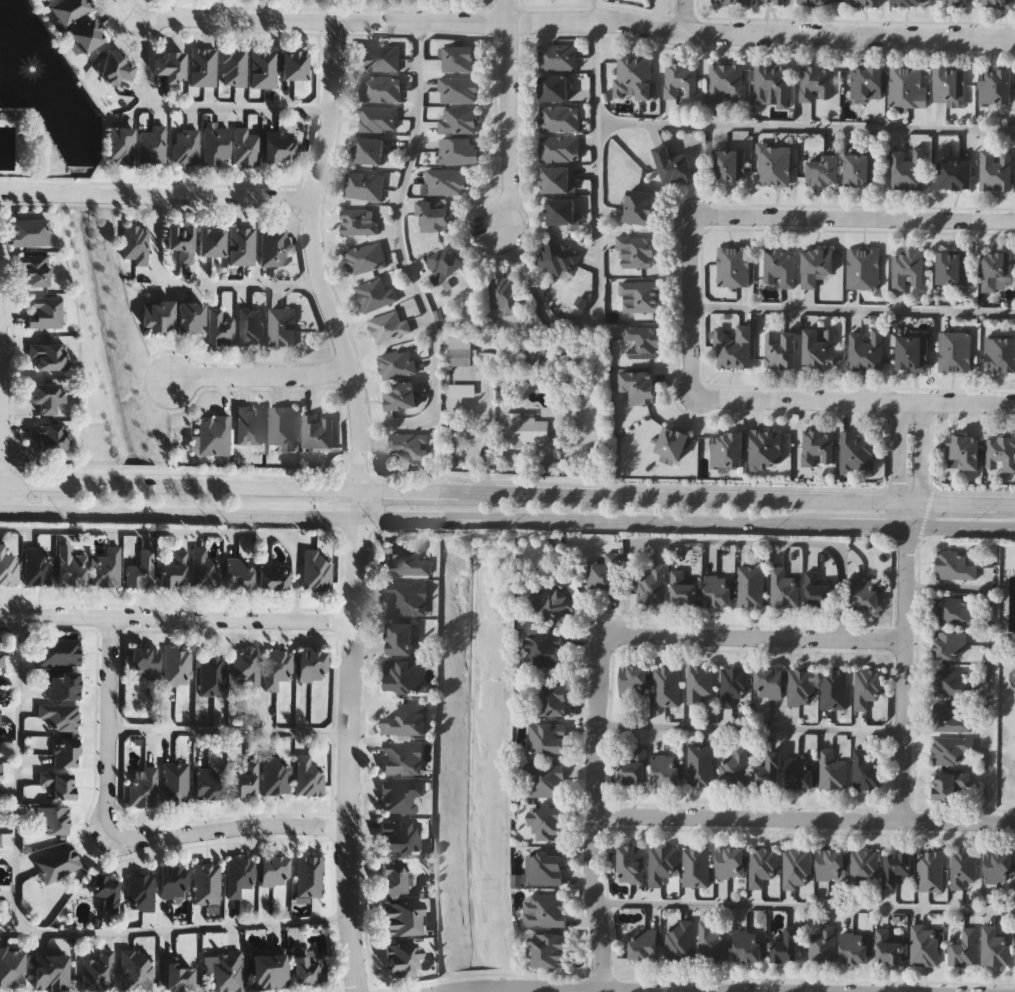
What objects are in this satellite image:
building: (47, 0)
building: (728, 2)
building: (770, 2)
building: (815, 2)
building: (864, 3)
building: (907, 3)
building: (952, 3)
building: (1000, 4)
road: (593, 9)
building: (70, 10)
road: (133, 11)
road: (685, 16)
road: (580, 19)
building: (87, 36)
building: (379, 59)
building: (558, 59)
building: (460, 60)
building: (294, 66)
building: (171, 67)
building: (202, 68)
building: (233, 68)
building: (115, 69)
building: (263, 69)
building: (635, 78)
building: (681, 82)
building: (728, 84)
building: (815, 84)
building: (867, 84)
building: (771, 86)
building: (950, 86)
building: (908, 88)
building: (997, 88)
building: (553, 89)
building: (380, 90)
building: (457, 91)
road: (198, 105)
road: (507, 113)
building: (377, 120)
building: (560, 120)
building: (457, 122)
road: (805, 128)
building: (120, 146)
building: (152, 146)
building: (216, 146)
building: (244, 147)
building: (185, 148)
building: (279, 148)
building: (560, 150)
building: (369, 152)
building: (459, 152)
building: (773, 166)
building: (674, 167)
building: (730, 167)
building: (908, 170)
building: (862, 171)
building: (996, 171)
building: (824, 172)
building: (956, 177)
building: (559, 181)
building: (445, 182)
building: (363, 187)
road: (37, 192)
road: (84, 193)
road: (202, 195)
building: (641, 208)
building: (562, 213)
road: (852, 216)
building: (433, 218)
building: (357, 223)
building: (28, 233)
building: (181, 242)
building: (211, 242)
building: (135, 244)
road: (599, 245)
building: (241, 246)
building: (273, 247)
building: (637, 253)
road: (404, 255)
road: (313, 256)
building: (363, 259)
building: (559, 260)
building: (444, 265)
building: (817, 267)
building: (734, 268)
building: (780, 268)
building: (33, 269)
building: (954, 269)
building: (864, 270)
building: (908, 271)
building: (999, 273)
road: (200, 280)
building: (502, 294)
building: (373, 296)
building: (641, 298)
road: (692, 306)
road: (853, 309)
building: (45, 313)
building: (158, 317)
building: (191, 318)
building: (221, 321)
building: (250, 327)
building: (387, 327)
building: (281, 328)
building: (644, 344)
building: (735, 348)
building: (782, 350)
building: (821, 350)
building: (462, 351)
building: (866, 351)
building: (955, 353)
building: (913, 355)
building: (1000, 355)
building: (48, 356)
building: (395, 364)
road: (0, 367)
road: (255, 371)
building: (640, 387)
building: (462, 390)
building: (47, 397)
building: (400, 397)
road: (854, 401)
building: (249, 426)
building: (282, 426)
building: (526, 429)
road: (1, 430)
building: (317, 433)
building: (213, 435)
building: (49, 437)
building: (673, 446)
building: (407, 447)
building: (818, 449)
building: (767, 450)
building: (728, 451)
building: (964, 453)
building: (1001, 453)
building: (856, 455)
road: (893, 463)
road: (919, 464)
road: (507, 482)
road: (507, 493)
road: (353, 503)
road: (1, 508)
road: (135, 512)
road: (311, 516)
road: (591, 519)
road: (867, 522)
road: (960, 524)
road: (187, 531)
road: (736, 541)
building: (408, 559)
building: (37, 564)
building: (953, 565)
building: (8, 566)
building: (107, 566)
building: (71, 568)
building: (141, 569)
building: (174, 569)
building: (204, 569)
building: (316, 569)
building: (239, 573)
building: (603, 574)
building: (274, 576)
building: (651, 585)
building: (750, 585)
building: (782, 587)
building: (683, 588)
building: (718, 590)
building: (817, 590)
building: (865, 593)
building: (407, 598)
building: (554, 603)
building: (953, 610)
road: (176, 617)
building: (400, 638)
road: (756, 638)
building: (950, 645)
building: (544, 647)
building: (59, 650)
building: (1, 659)
building: (145, 662)
building: (313, 664)
road: (990, 665)
building: (178, 666)
building: (246, 667)
building: (277, 667)
road: (904, 671)
building: (213, 674)
building: (403, 676)
building: (634, 682)
building: (769, 682)
building: (950, 683)
building: (64, 684)
building: (698, 684)
building: (733, 685)
building: (666, 686)
building: (801, 687)
building: (865, 687)
building: (833, 689)
building: (555, 699)
building: (59, 714)
building: (0, 716)
building: (407, 719)
building: (948, 719)
road: (749, 728)
road: (230, 729)
building: (546, 737)
building: (950, 749)
building: (65, 750)
road: (349, 754)
building: (402, 756)
building: (0, 759)
building: (701, 766)
building: (633, 767)
building: (734, 768)
building: (666, 770)
building: (831, 770)
building: (866, 770)
building: (770, 771)
road: (19, 772)
building: (800, 772)
building: (275, 775)
building: (309, 775)
building: (245, 779)
building: (545, 780)
building: (175, 781)
building: (59, 782)
building: (209, 782)
building: (950, 784)
building: (143, 787)
building: (400, 794)
road: (593, 815)
building: (52, 818)
road: (804, 819)
building: (549, 823)
road: (121, 835)
building: (402, 836)
building: (57, 862)
building: (730, 862)
building: (831, 863)
building: (632, 864)
building: (662, 864)
building: (762, 865)
building: (695, 866)
building: (545, 867)
building: (797, 867)
building: (863, 867)
building: (897, 867)
building: (962, 867)
building: (999, 867)
building: (275, 869)
building: (929, 869)
building: (240, 874)
building: (309, 875)
building: (394, 875)
building: (174, 881)
building: (206, 882)
building: (107, 890)
building: (140, 891)
road: (805, 907)
building: (545, 911)
building: (402, 917)
road: (182, 927)
road: (8, 929)
building: (679, 940)
building: (710, 941)
building: (644, 944)
building: (786, 944)
building: (822, 944)
building: (925, 944)
building: (748, 945)
building: (889, 945)
building: (993, 946)
building: (854, 947)
building: (963, 947)
building: (550, 949)
building: (403, 958)
building: (12, 966)
building: (51, 968)
building: (308, 968)
building: (97, 969)
building: (135, 969)
building: (227, 970)
building: (270, 970)
building: (177, 973)
road: (581, 989)

